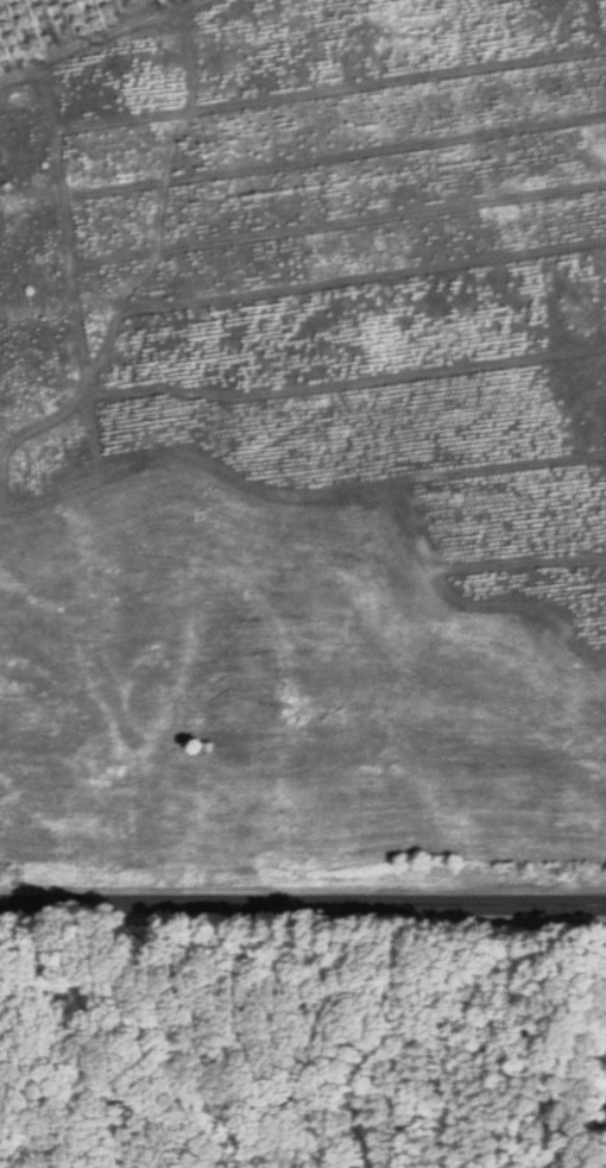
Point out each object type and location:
road: (303, 898)

